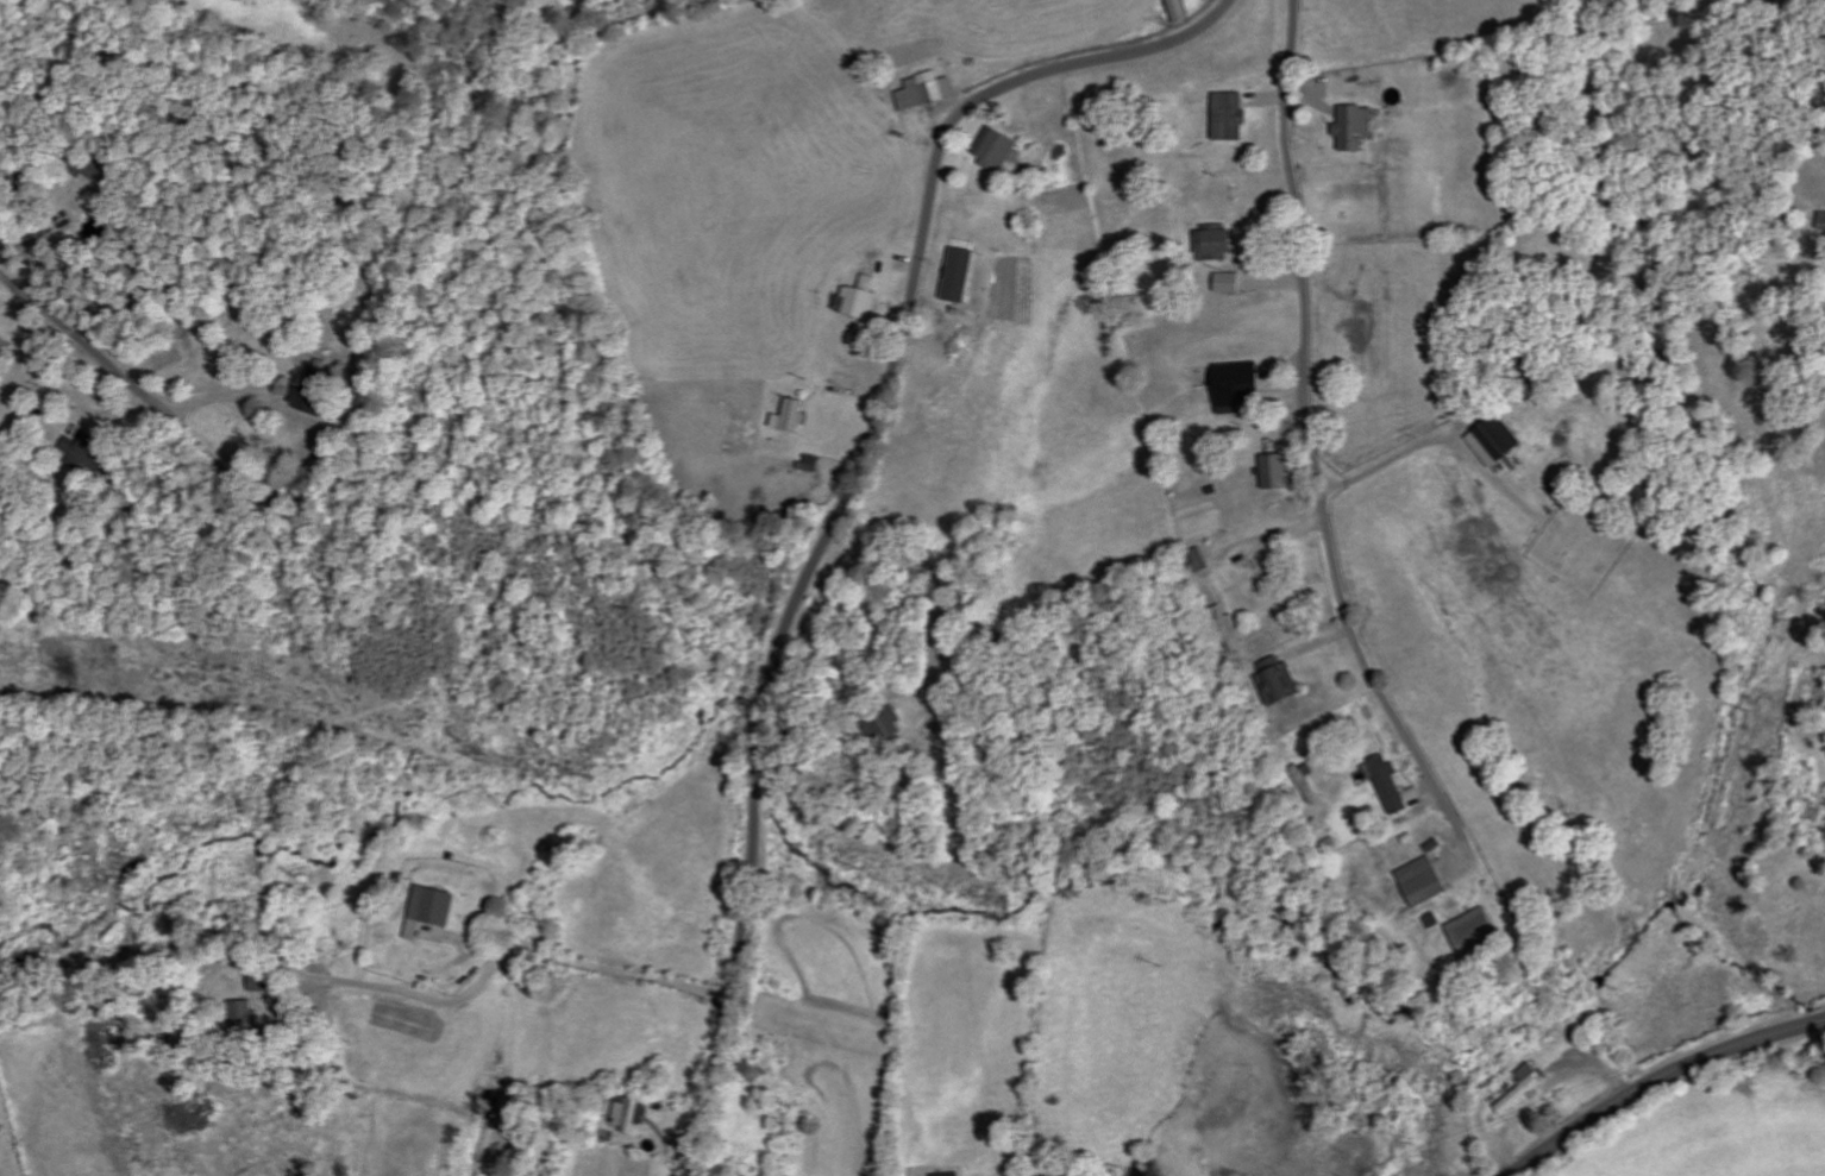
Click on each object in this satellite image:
building: (1183, 11)
building: (930, 92)
building: (1233, 117)
building: (1360, 127)
building: (1001, 147)
road: (1026, 182)
building: (1824, 225)
building: (962, 275)
building: (1231, 283)
building: (863, 298)
road: (79, 342)
building: (1241, 386)
building: (318, 390)
building: (794, 416)
road: (1317, 435)
building: (1500, 441)
building: (92, 452)
building: (814, 463)
building: (325, 465)
building: (1279, 472)
road: (846, 498)
building: (1234, 628)
building: (1282, 681)
building: (1392, 785)
building: (1818, 805)
building: (1426, 882)
building: (434, 910)
building: (1476, 930)
building: (438, 931)
building: (263, 980)
building: (244, 1008)
road: (1658, 1078)
building: (1526, 1089)
building: (629, 1114)
building: (943, 1175)

